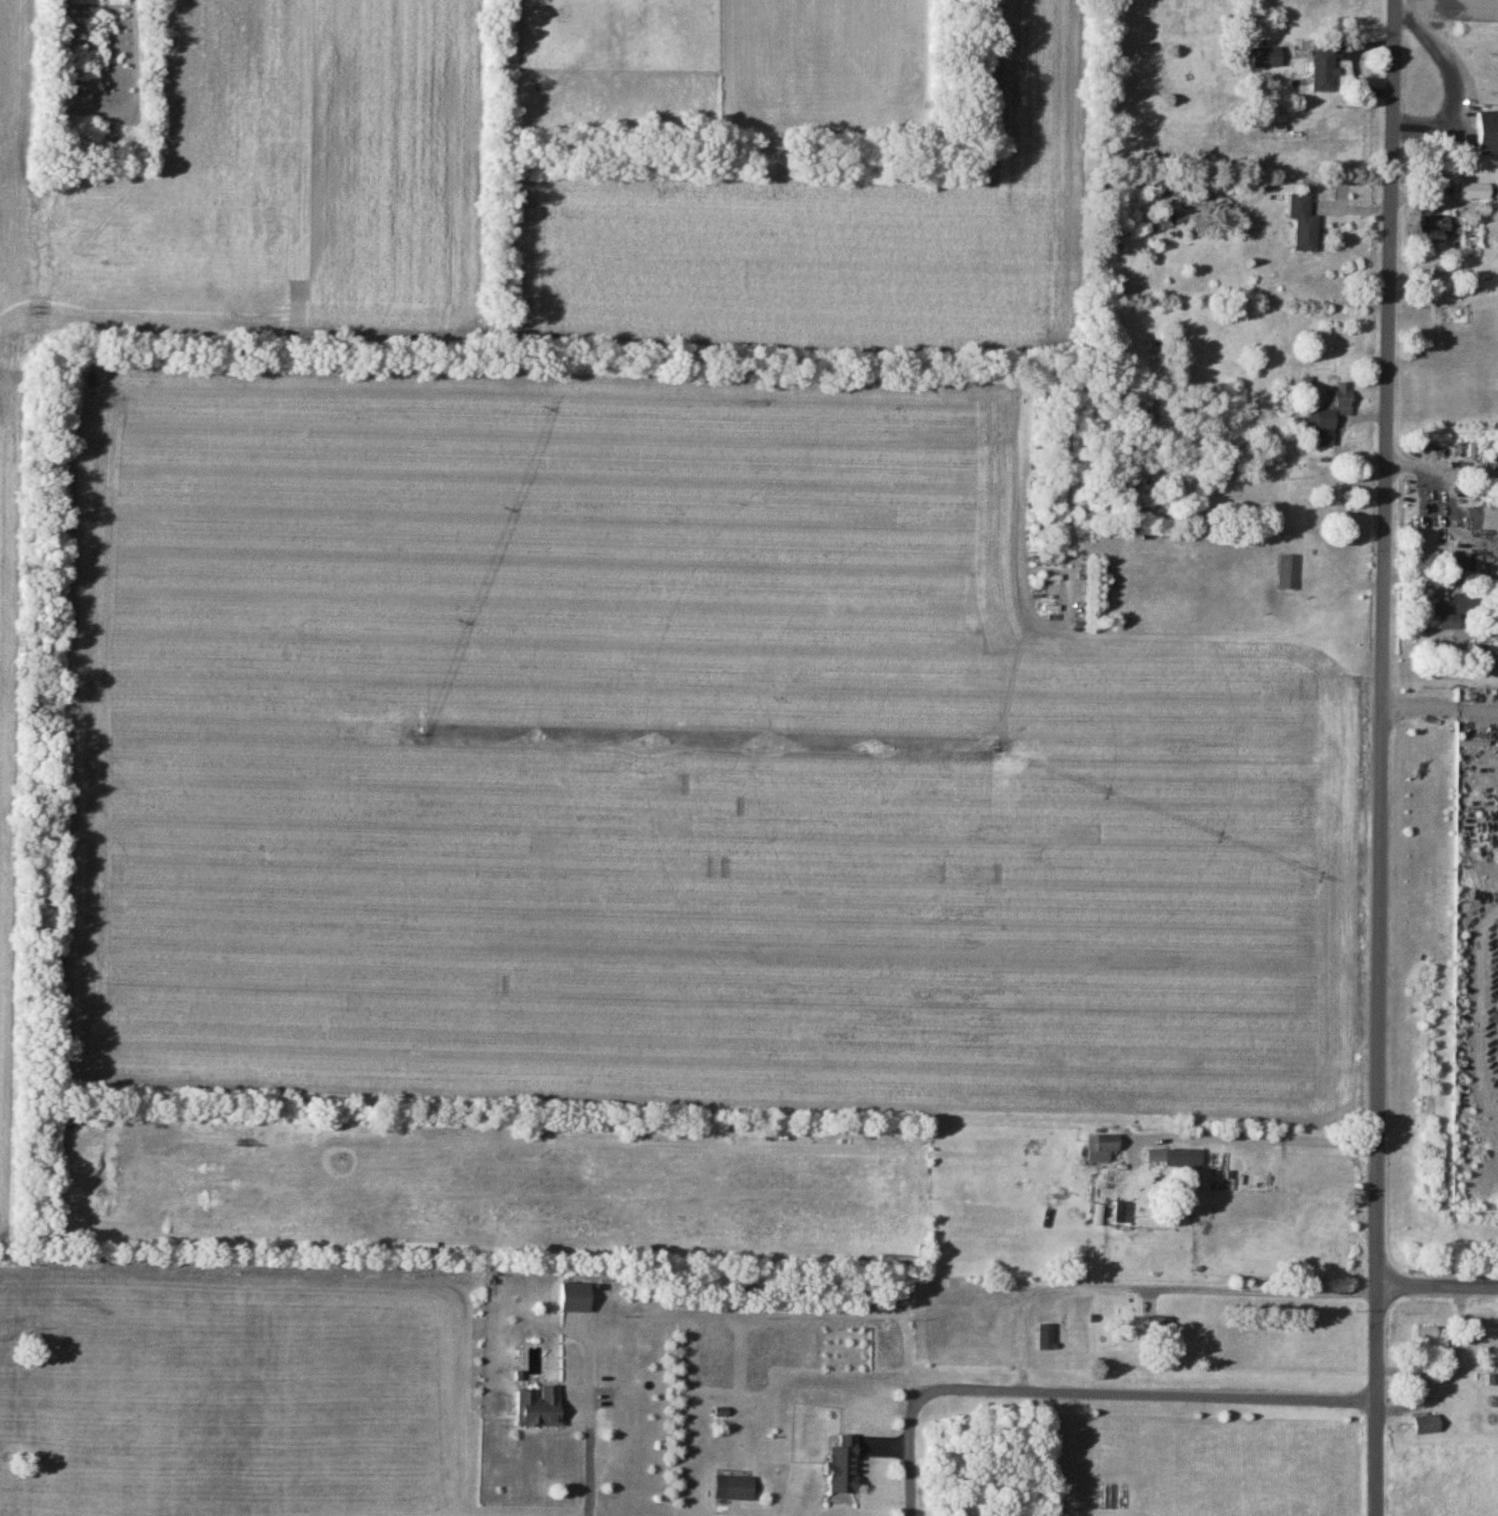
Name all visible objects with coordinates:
road: (1440, 712)
road: (1381, 757)
road: (1262, 1140)
road: (1153, 1285)
road: (1437, 1289)
road: (1085, 1388)
road: (591, 1457)
road: (777, 1496)

